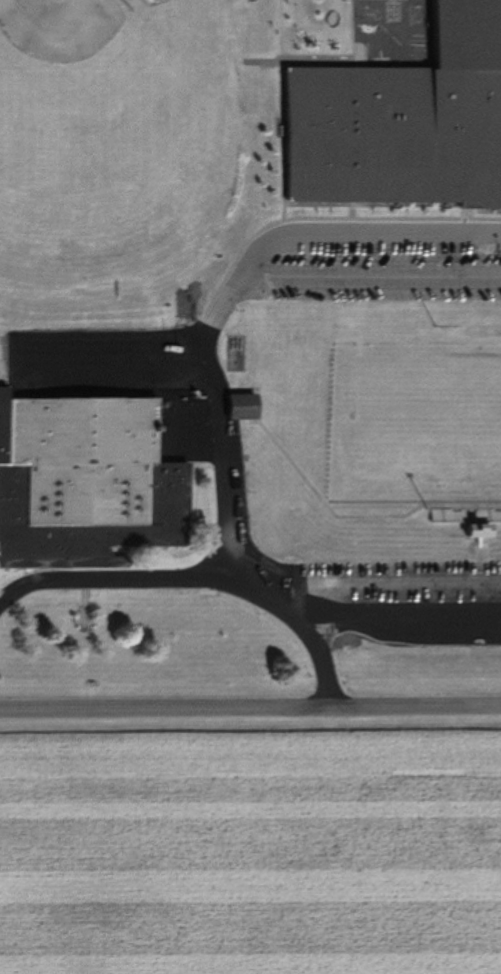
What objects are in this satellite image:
park: (90, 95)
building: (403, 123)
parking lot: (380, 271)
road: (367, 281)
road: (228, 288)
building: (477, 331)
parking lot: (103, 367)
building: (245, 405)
park: (416, 423)
parking lot: (237, 477)
building: (89, 481)
road: (334, 514)
building: (483, 531)
road: (200, 577)
road: (378, 584)
parking lot: (400, 598)
flagpole: (86, 619)
road: (399, 620)
road: (250, 710)

